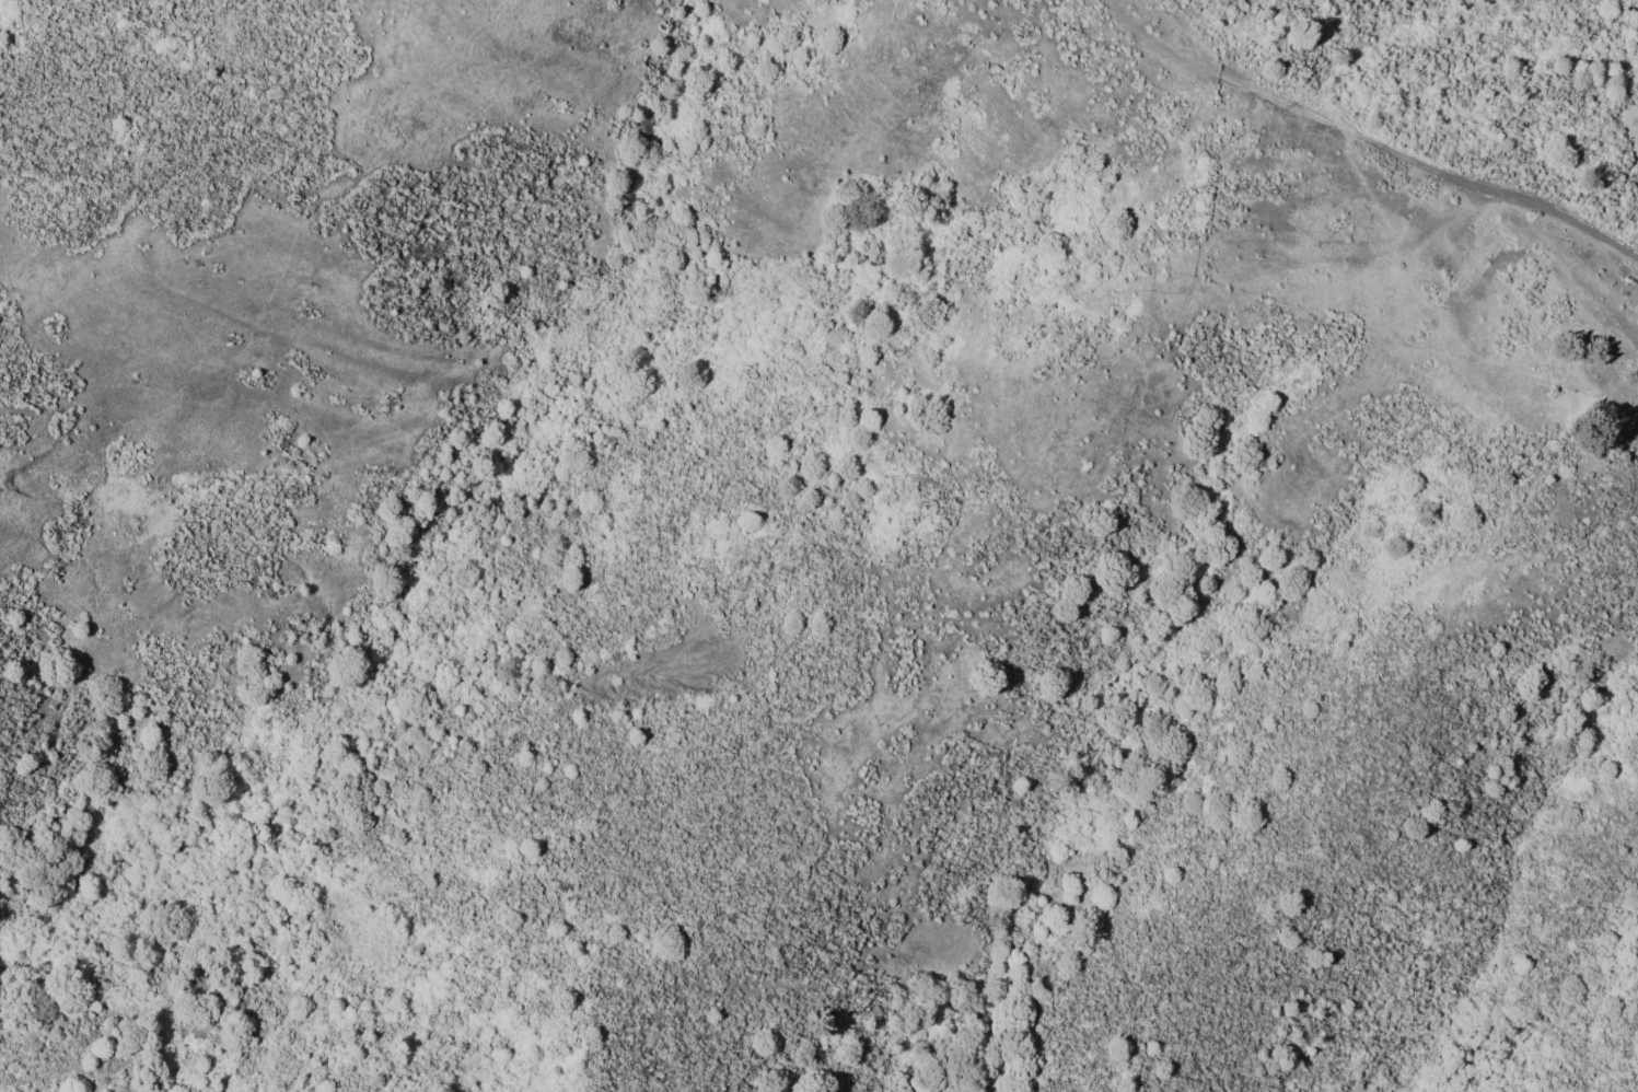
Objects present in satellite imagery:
road: (1367, 141)
road: (1395, 242)
road: (1509, 367)

